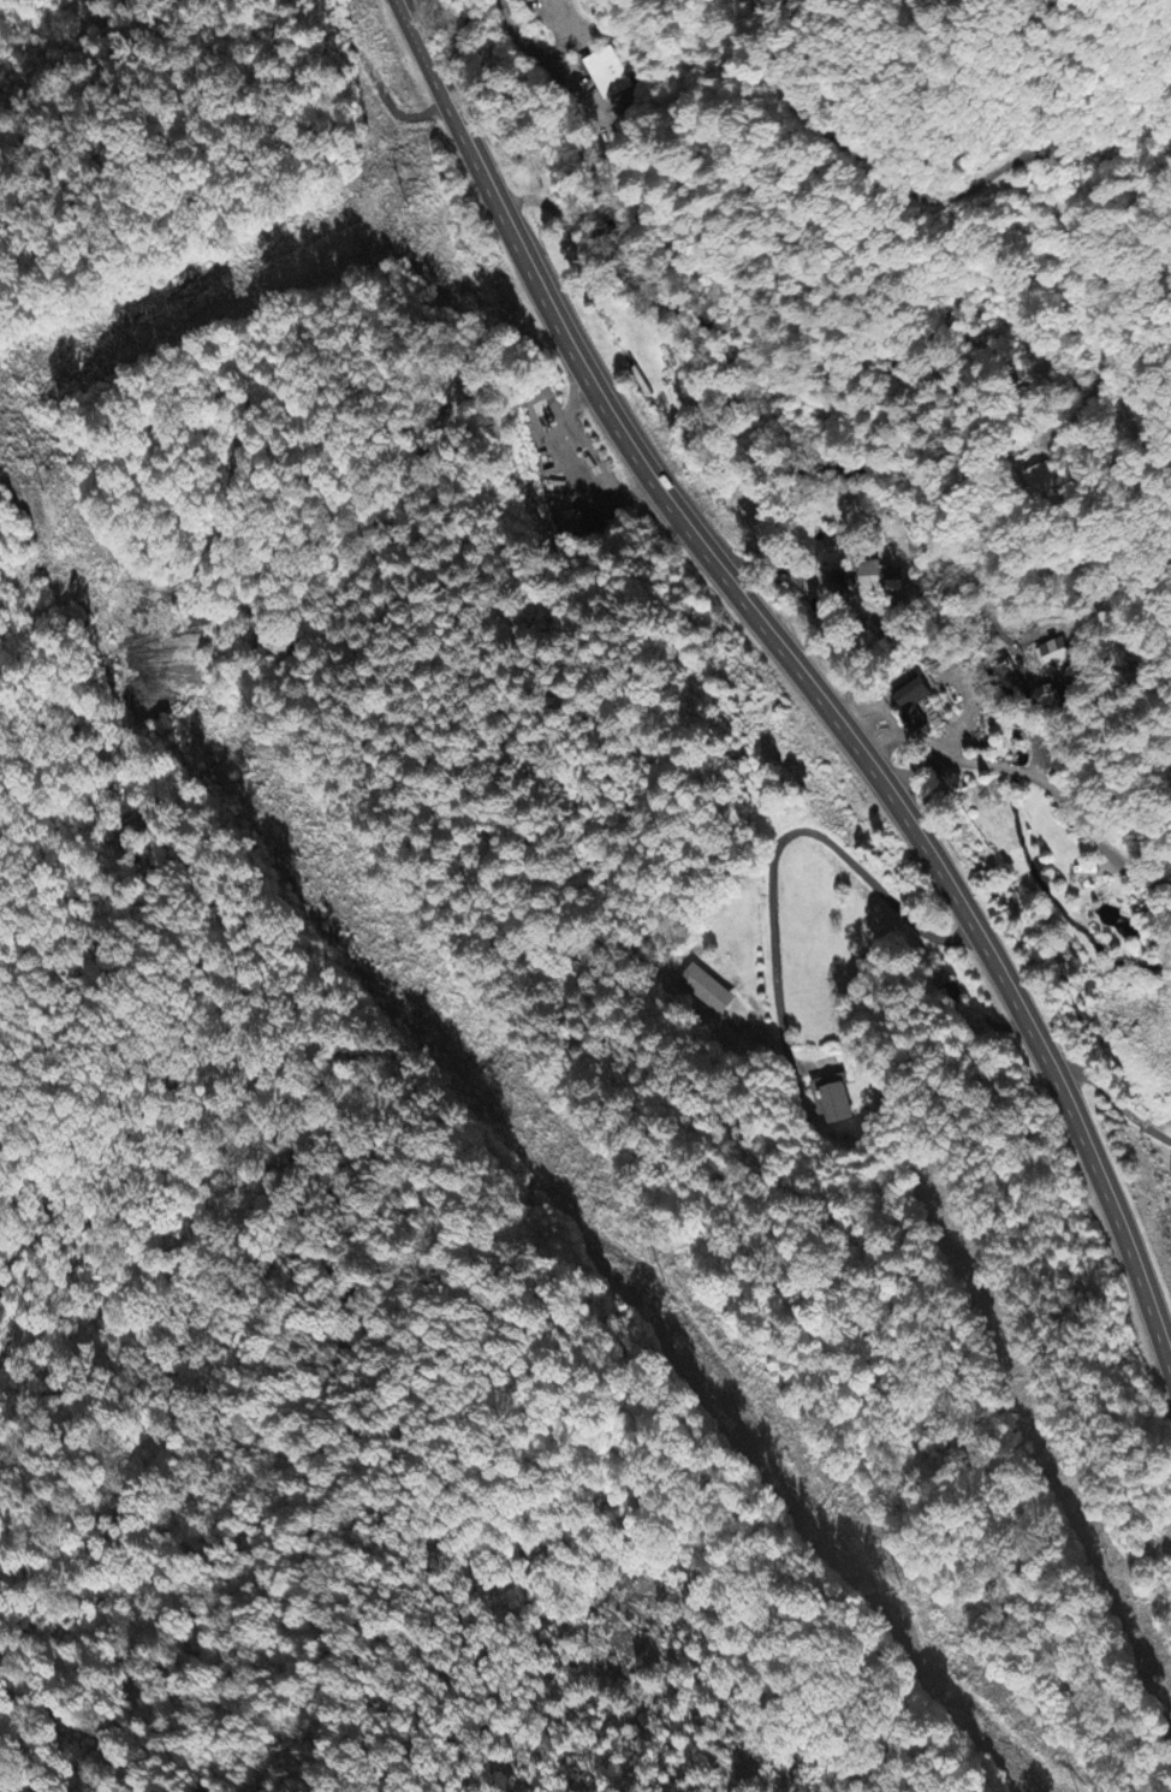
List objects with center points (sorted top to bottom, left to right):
building: (607, 76)
road: (933, 196)
building: (1040, 480)
road: (703, 553)
building: (874, 580)
building: (910, 706)
road: (1044, 787)
building: (1152, 914)
building: (706, 992)
building: (832, 1102)
road: (1116, 1227)

